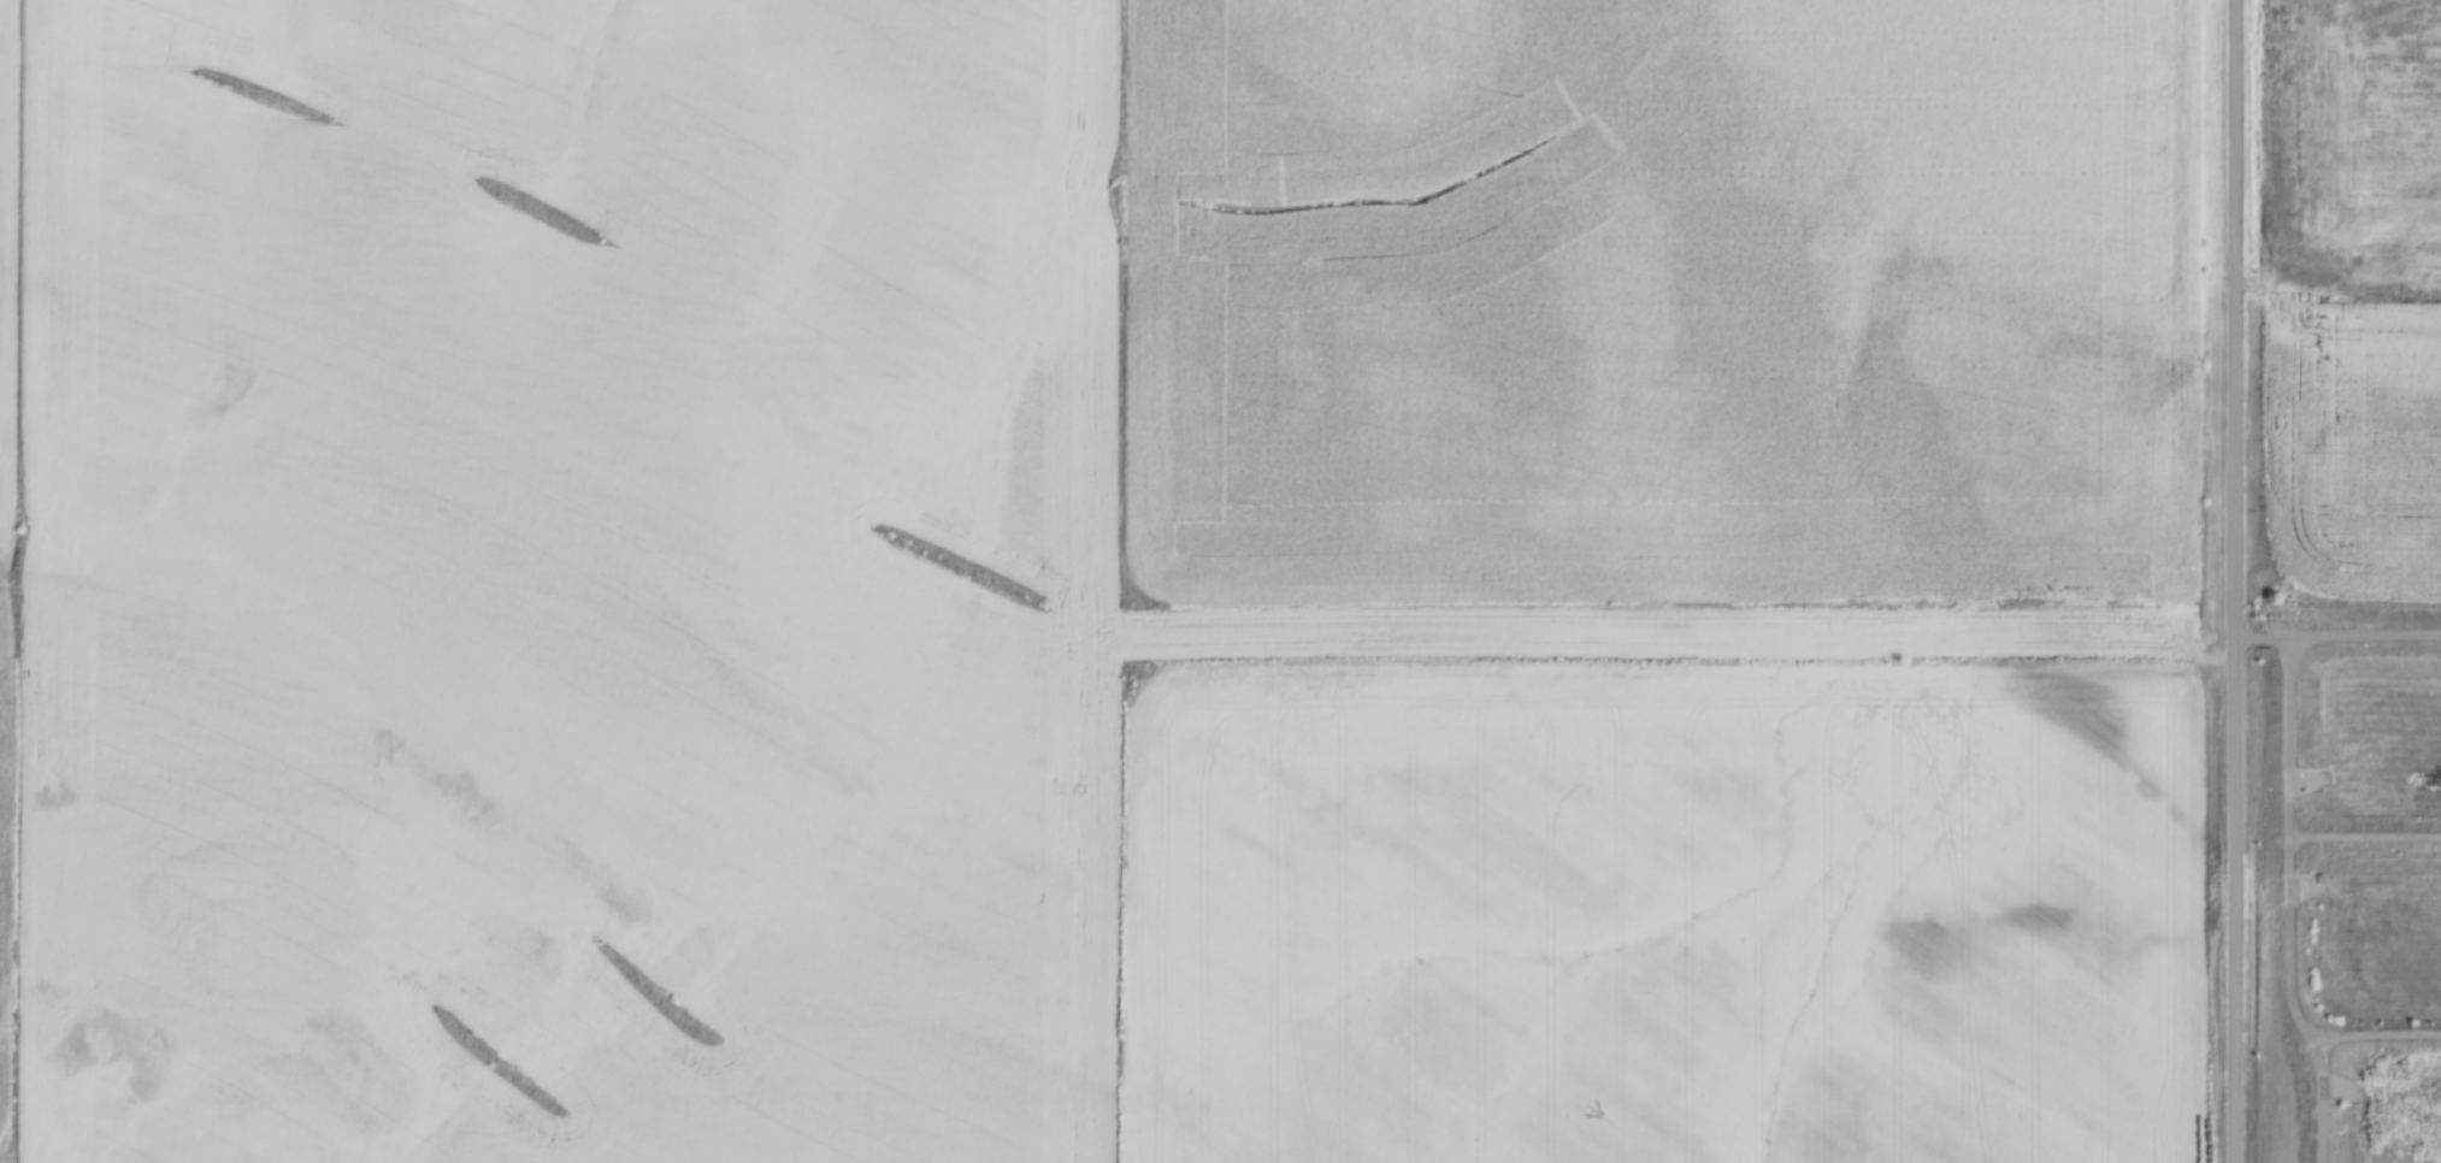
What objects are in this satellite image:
crop: (2349, 306)
road: (2230, 581)

